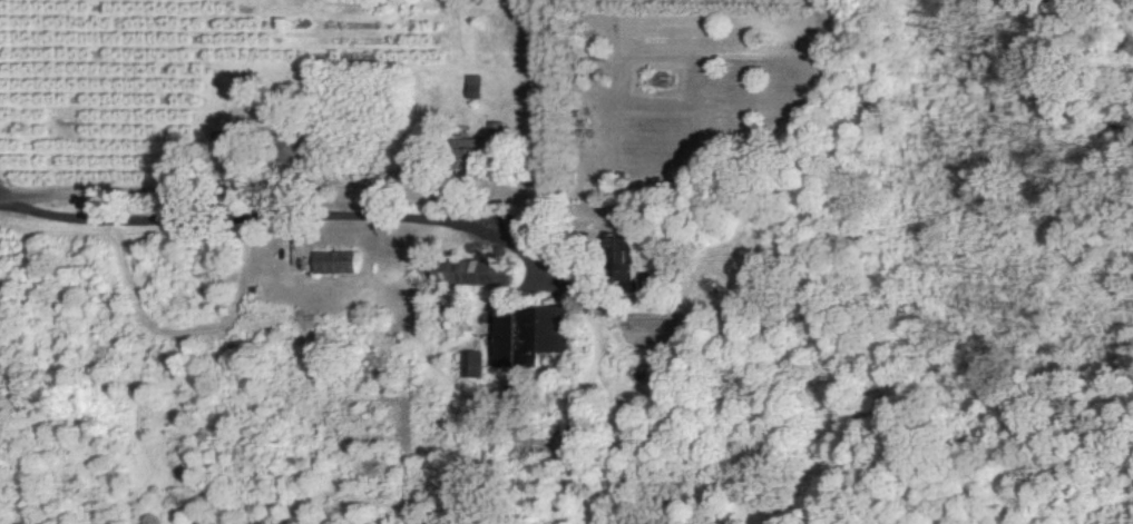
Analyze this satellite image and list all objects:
building: (473, 87)
building: (497, 132)
road: (258, 207)
building: (334, 263)
building: (477, 273)
building: (529, 336)
building: (471, 365)

